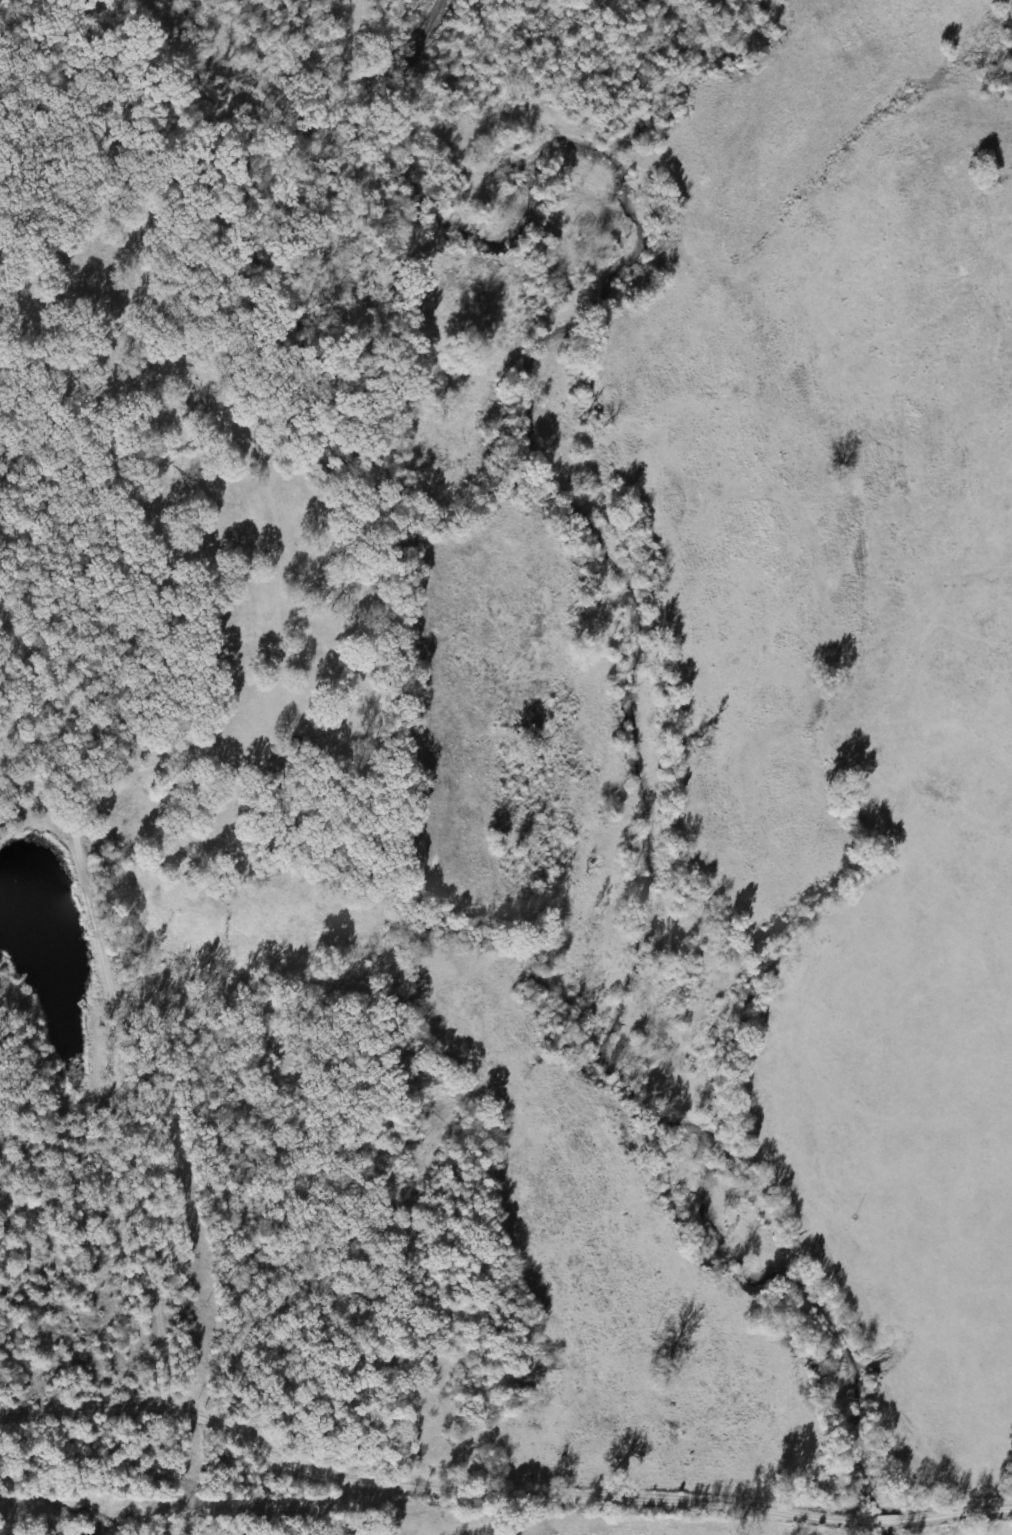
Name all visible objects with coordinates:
road: (497, 1496)
road: (397, 1511)

